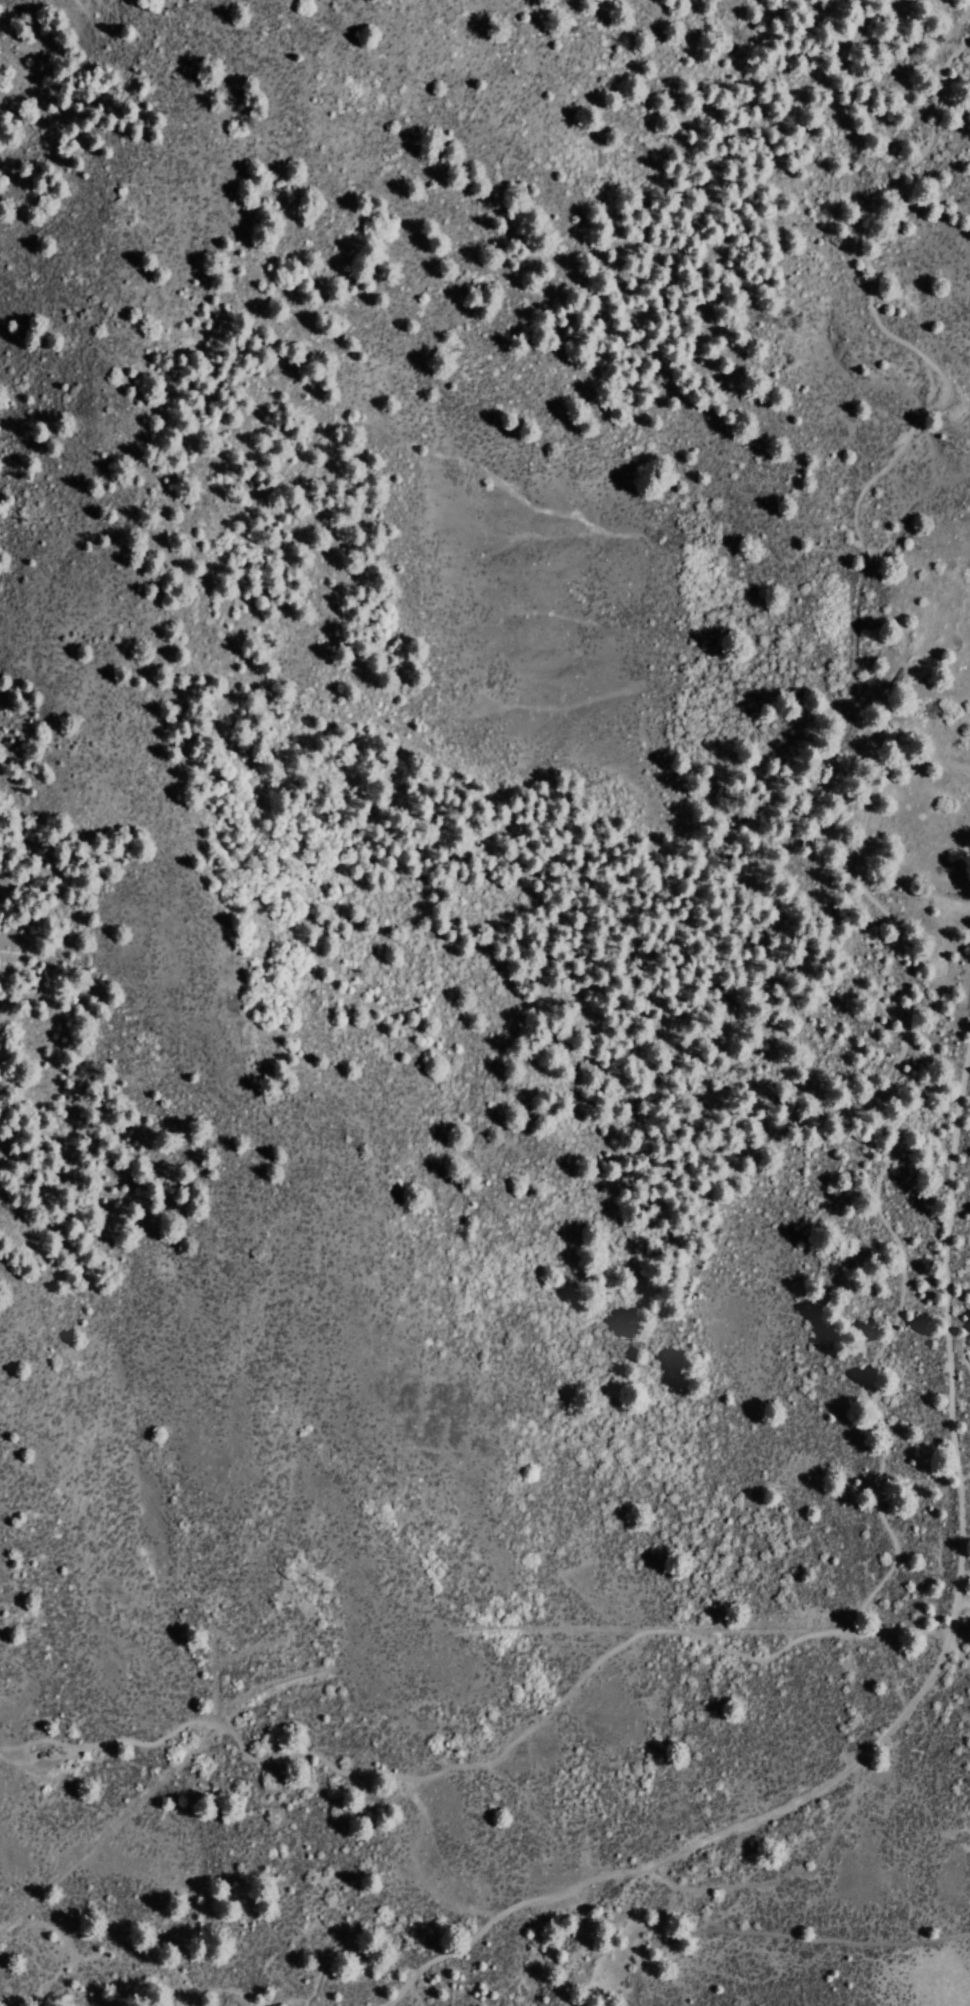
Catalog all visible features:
road: (875, 473)
road: (917, 754)
crop: (900, 842)
road: (960, 1345)
road: (745, 1656)
road: (927, 1679)
road: (786, 1874)
road: (772, 1932)
road: (17, 2002)

